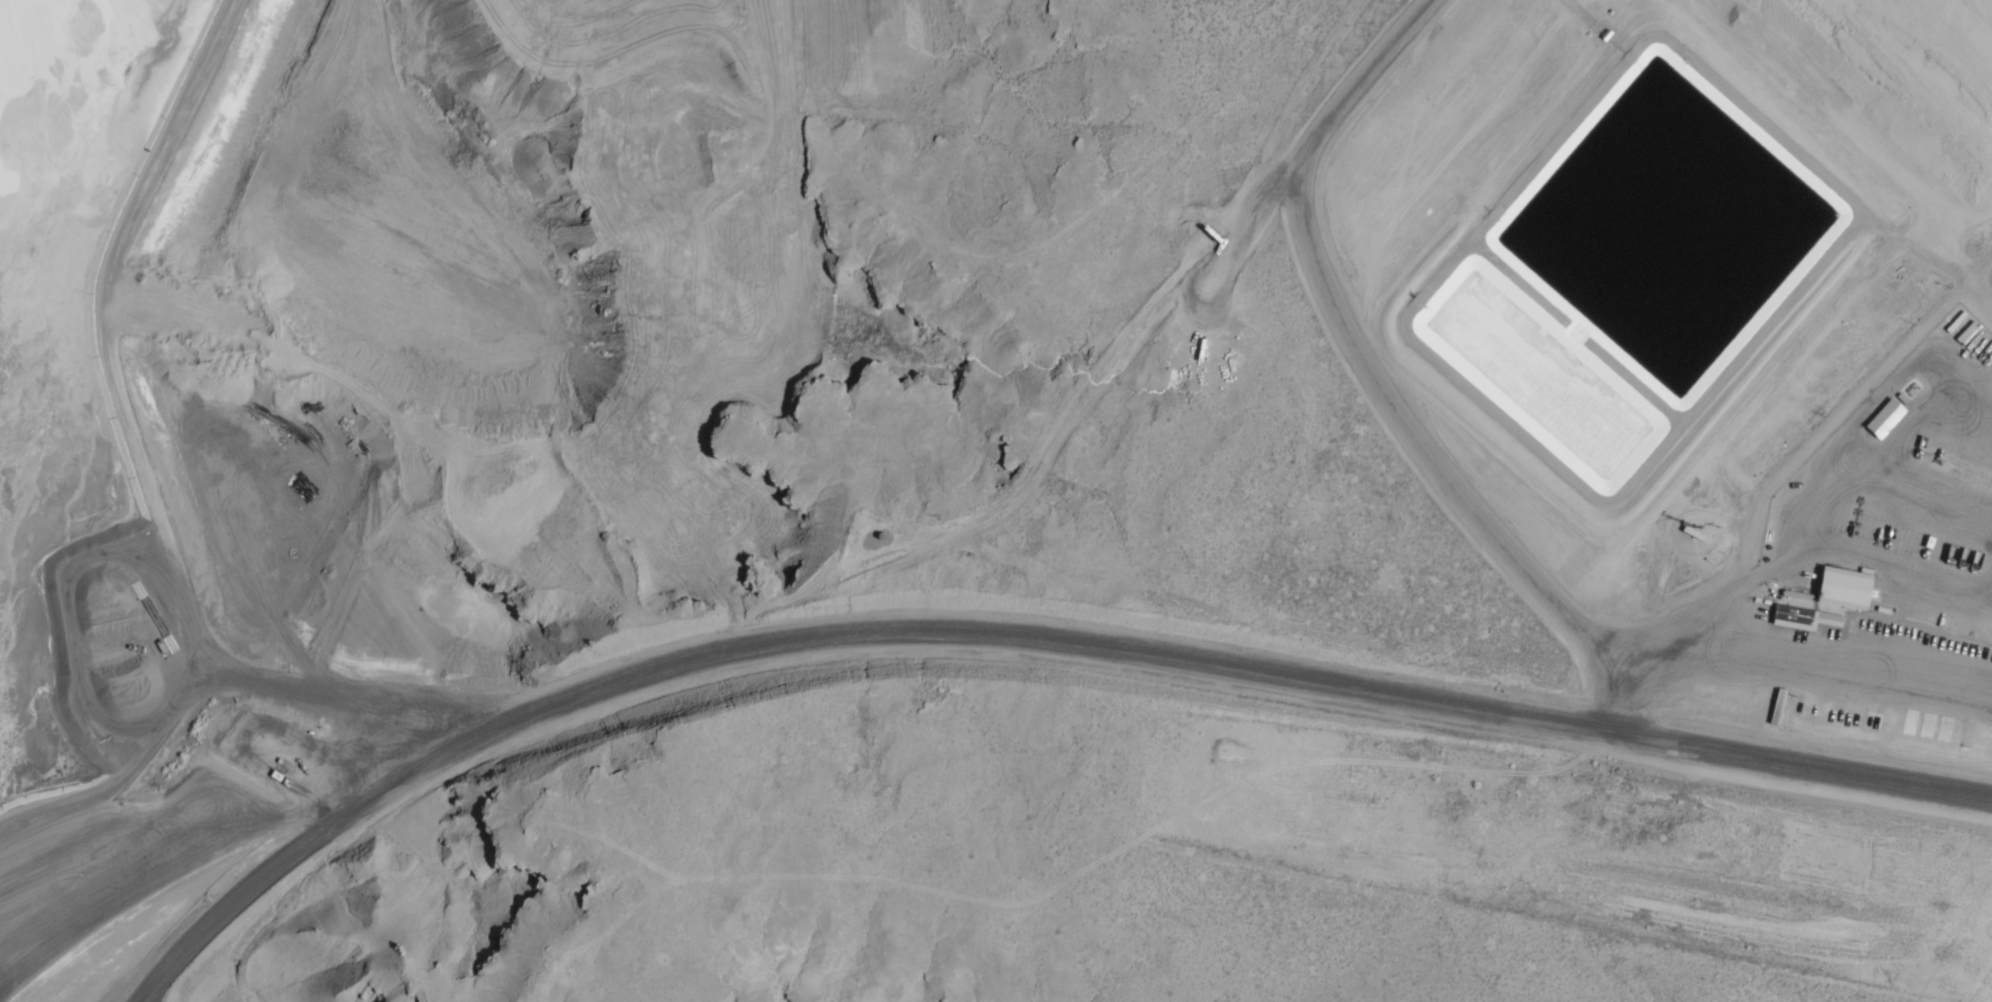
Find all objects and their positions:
road: (1152, 311)
wastewater plant: (59, 370)

